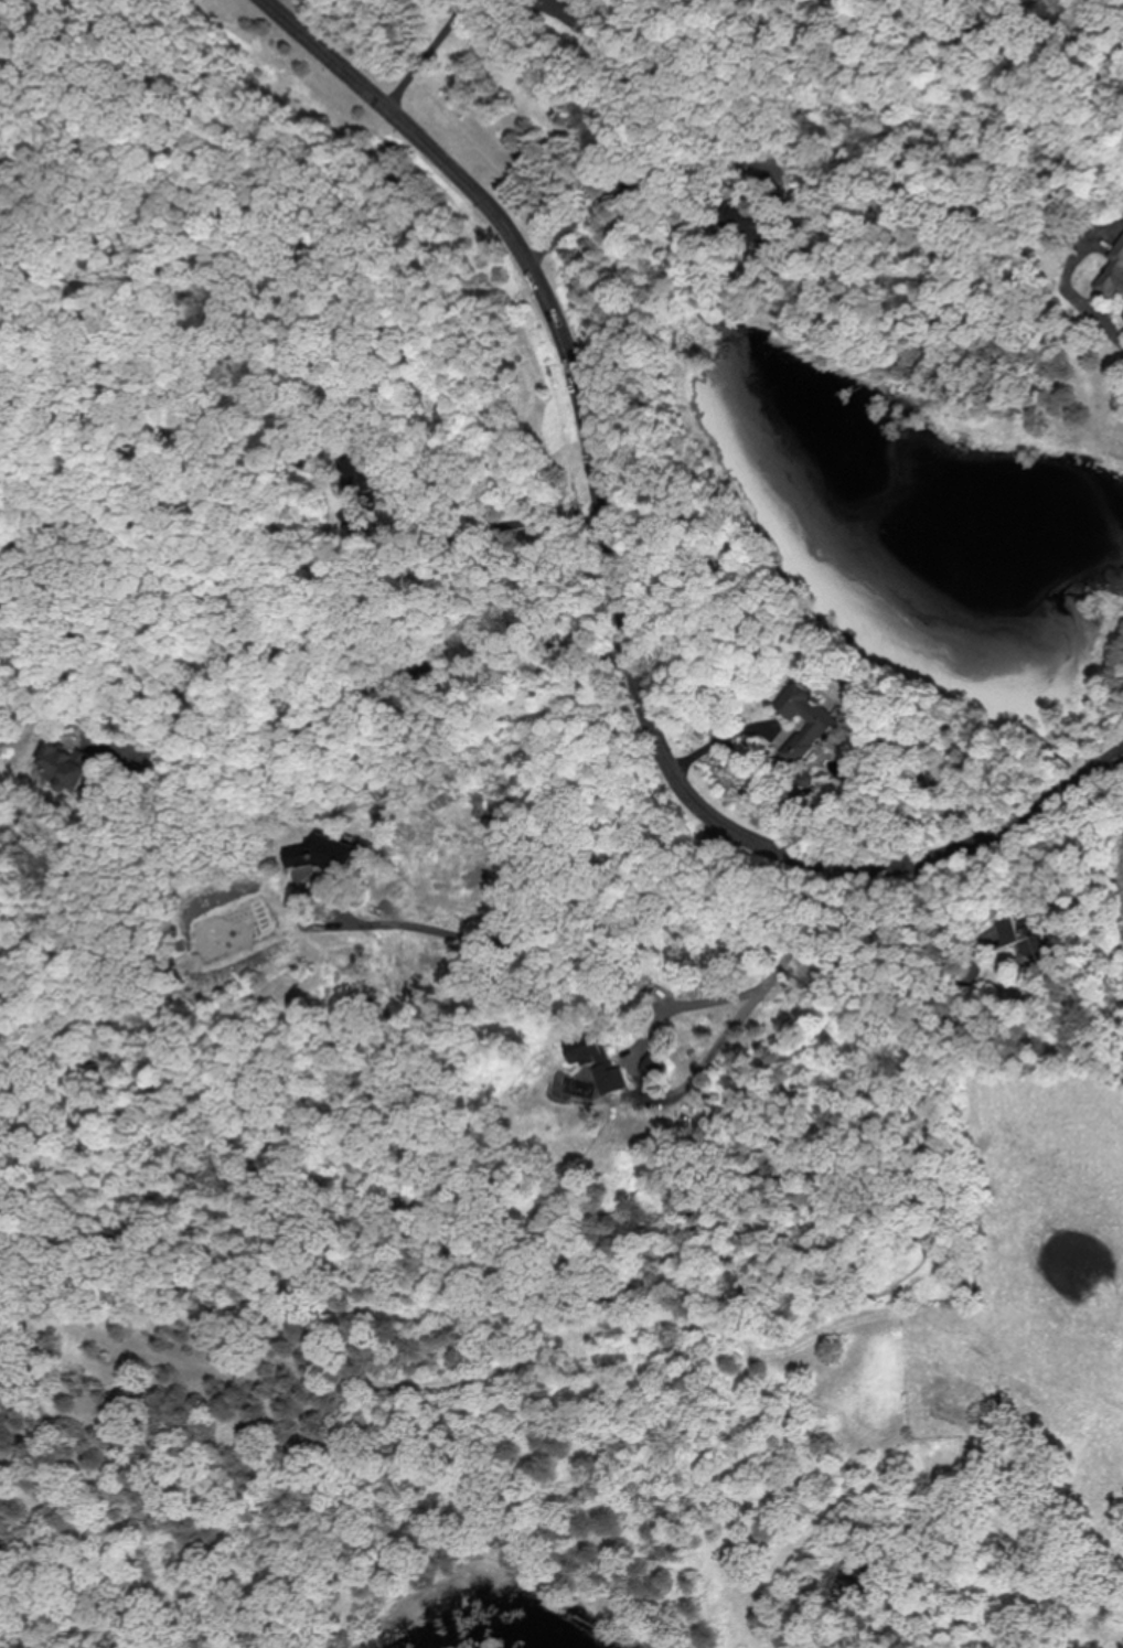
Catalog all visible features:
building: (566, 9)
road: (6, 19)
road: (420, 49)
road: (608, 191)
building: (1113, 271)
road: (1112, 329)
road: (495, 529)
road: (610, 598)
road: (373, 681)
building: (809, 718)
road: (717, 739)
building: (67, 762)
building: (334, 857)
building: (1033, 937)
road: (548, 940)
road: (655, 1021)
building: (589, 1068)

